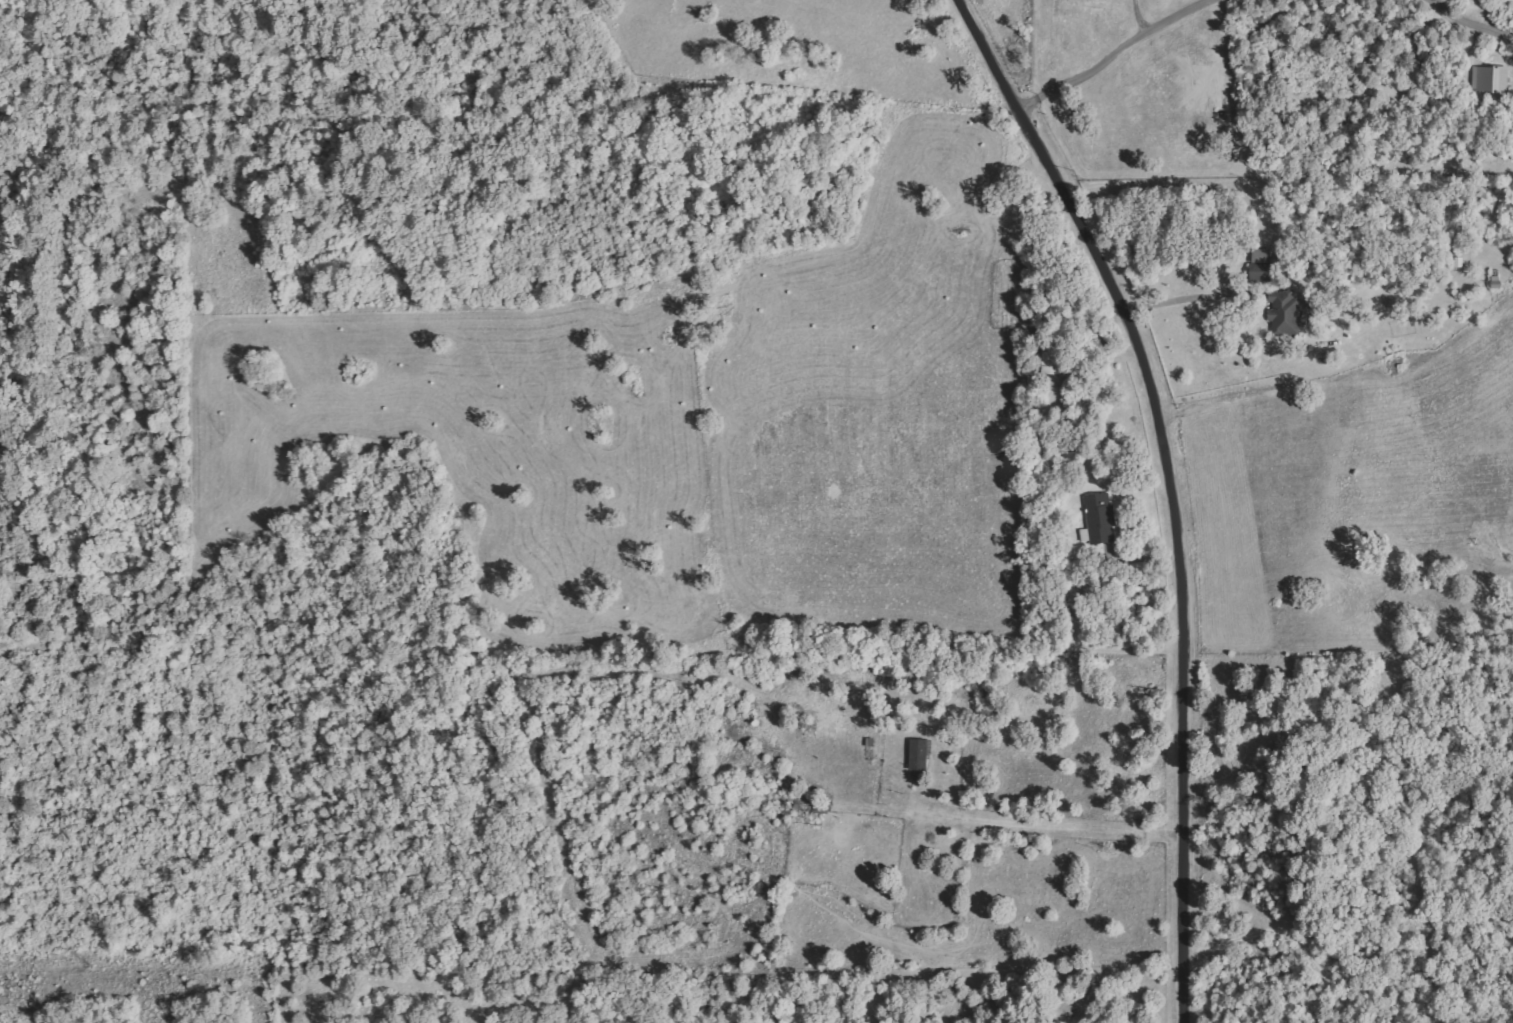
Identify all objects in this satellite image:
building: (1490, 79)
building: (1262, 264)
building: (1285, 312)
building: (1052, 358)
road: (1337, 394)
road: (1173, 487)
building: (1099, 519)
building: (1129, 607)
road: (1118, 689)
building: (920, 754)

